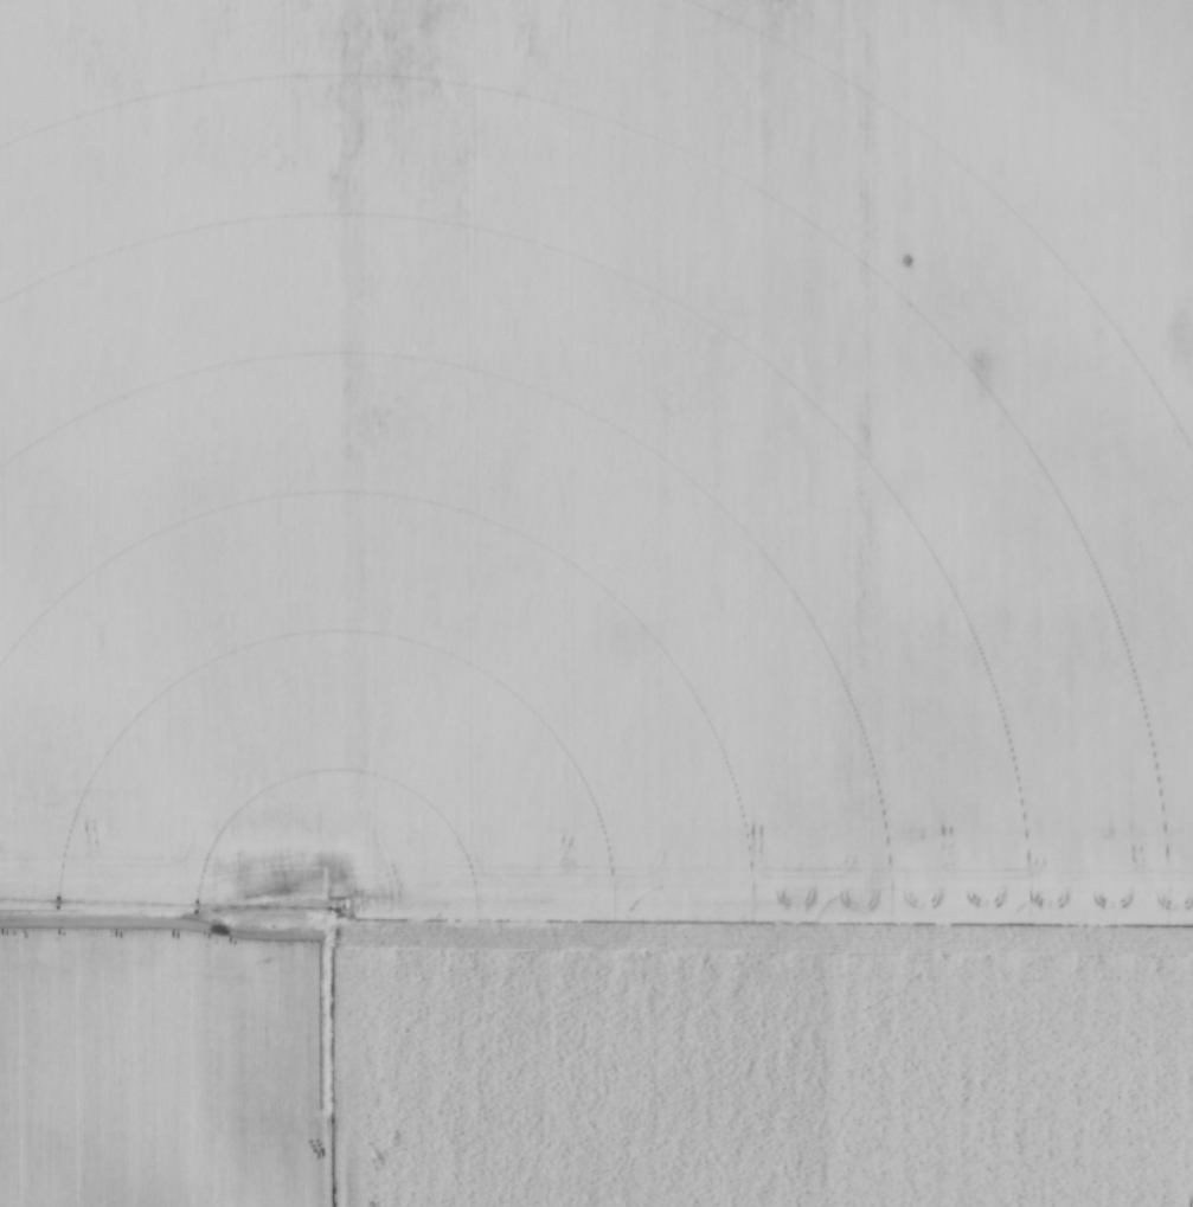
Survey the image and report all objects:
crop: (161, 1068)

